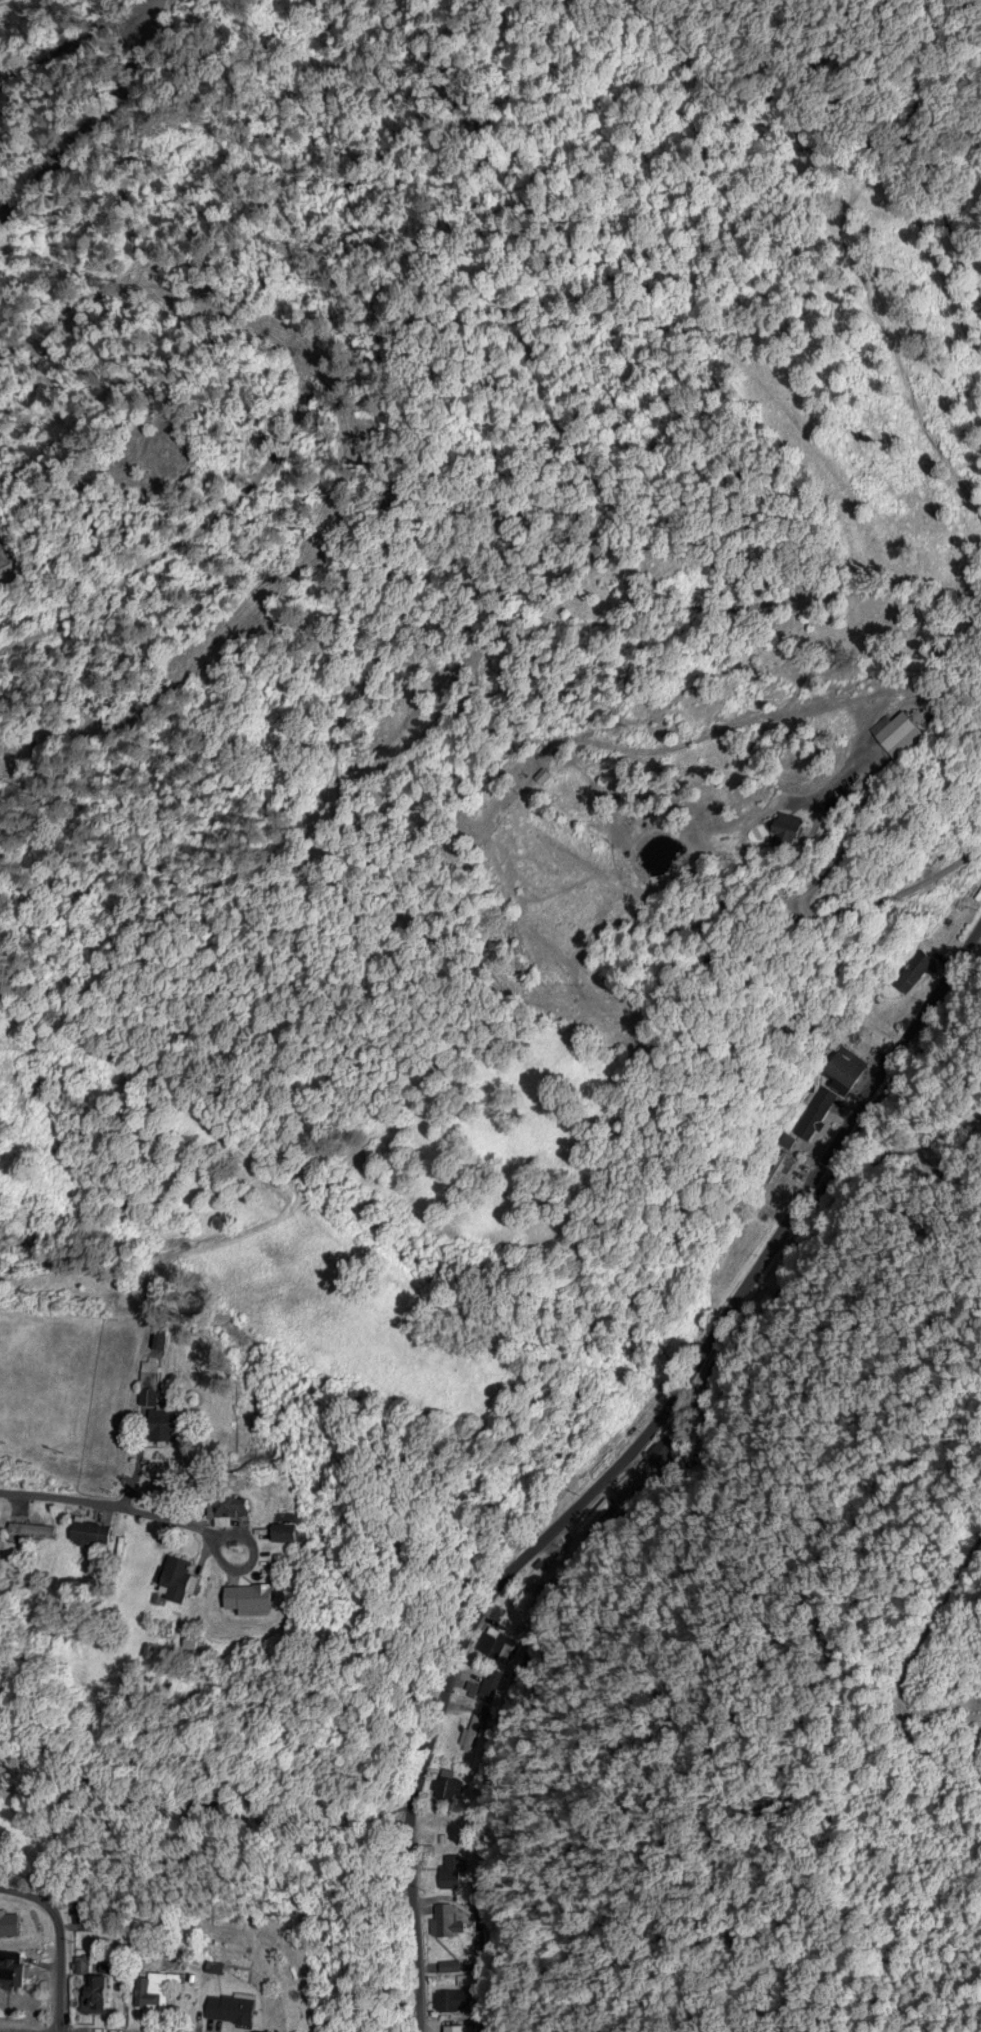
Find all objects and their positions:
road: (94, 115)
road: (834, 650)
road: (806, 903)
building: (839, 1072)
building: (158, 1336)
building: (152, 1403)
road: (622, 1457)
road: (136, 1474)
road: (132, 1506)
building: (221, 1506)
building: (37, 1526)
building: (95, 1529)
building: (173, 1576)
building: (238, 1594)
building: (497, 1641)
building: (471, 1725)
building: (447, 1784)
building: (450, 1869)
road: (27, 1896)
building: (446, 1918)
building: (11, 1922)
building: (16, 1969)
road: (58, 1969)
building: (150, 1989)
building: (96, 1990)
building: (451, 1998)
building: (217, 2006)
road: (50, 2030)

